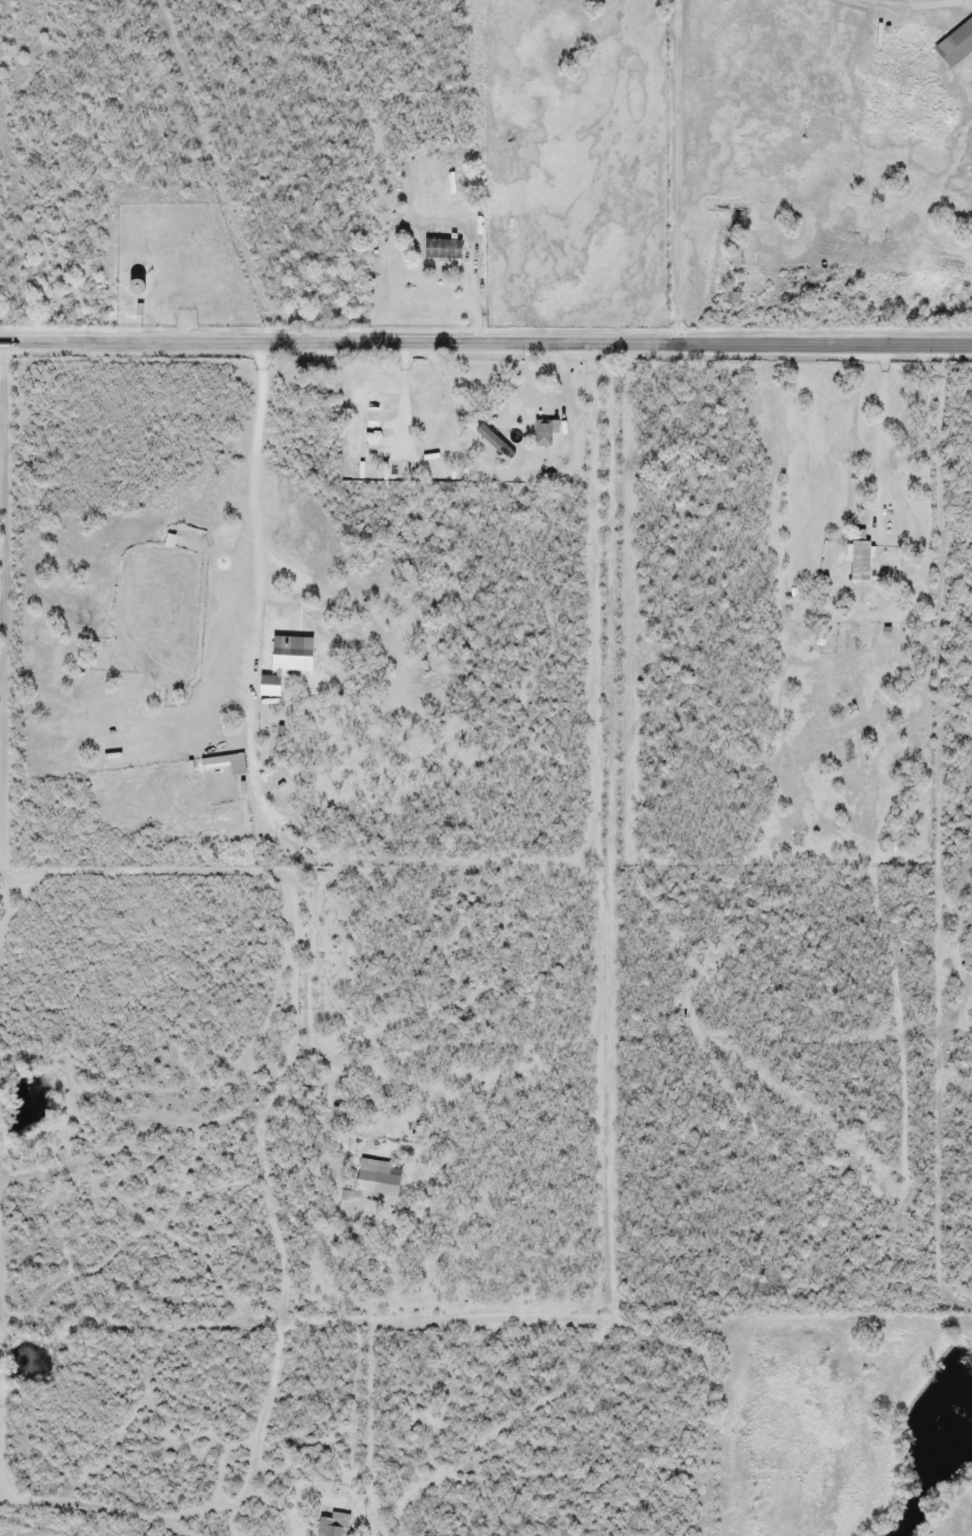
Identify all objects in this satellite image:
building: (444, 250)
building: (138, 287)
road: (486, 341)
building: (544, 433)
building: (860, 558)
road: (261, 583)
building: (337, 1121)
building: (376, 1180)
building: (333, 1526)

